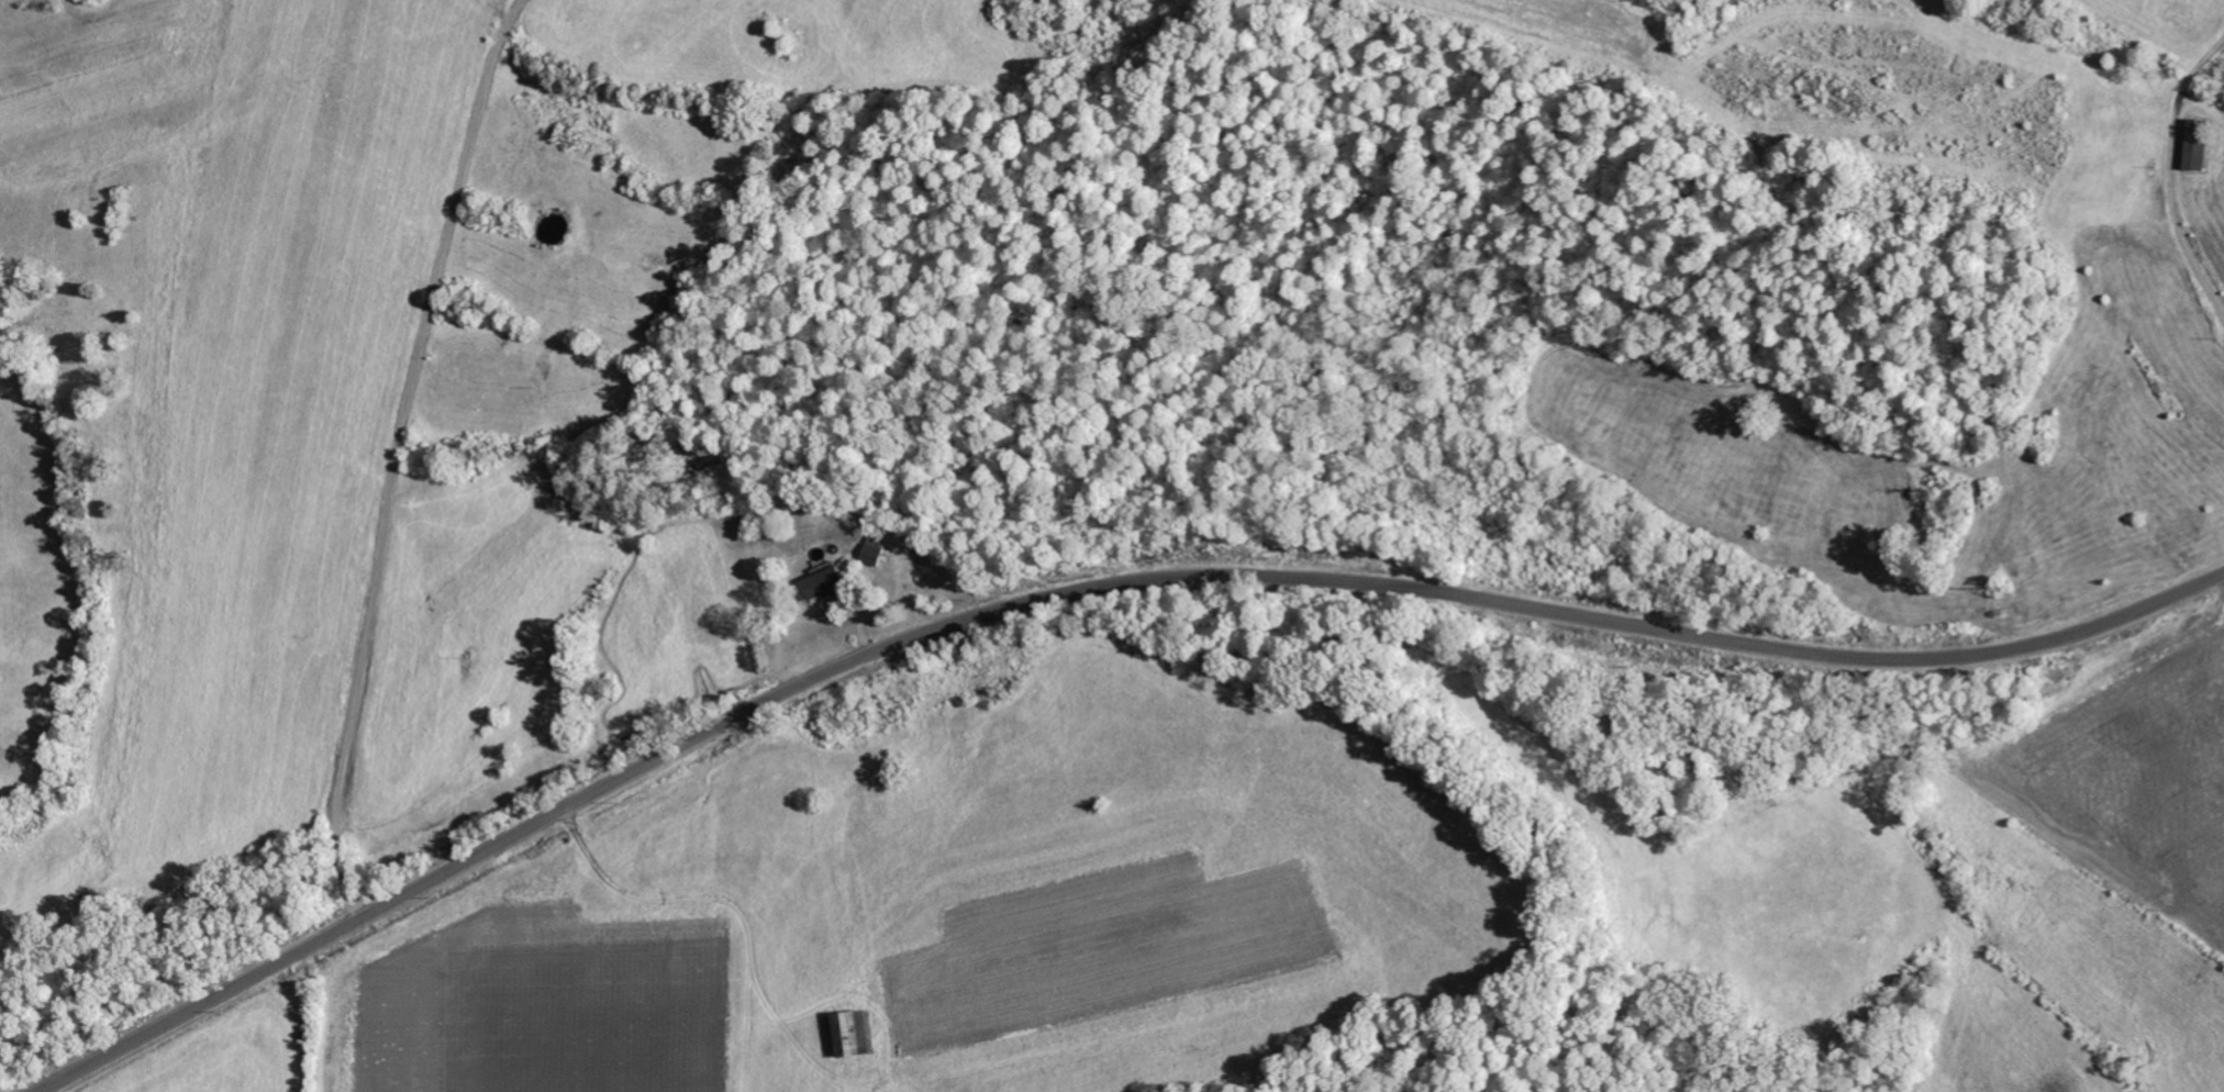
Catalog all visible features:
building: (2194, 144)
road: (2167, 167)
road: (394, 456)
building: (874, 551)
building: (816, 584)
road: (1082, 592)
building: (848, 1032)

